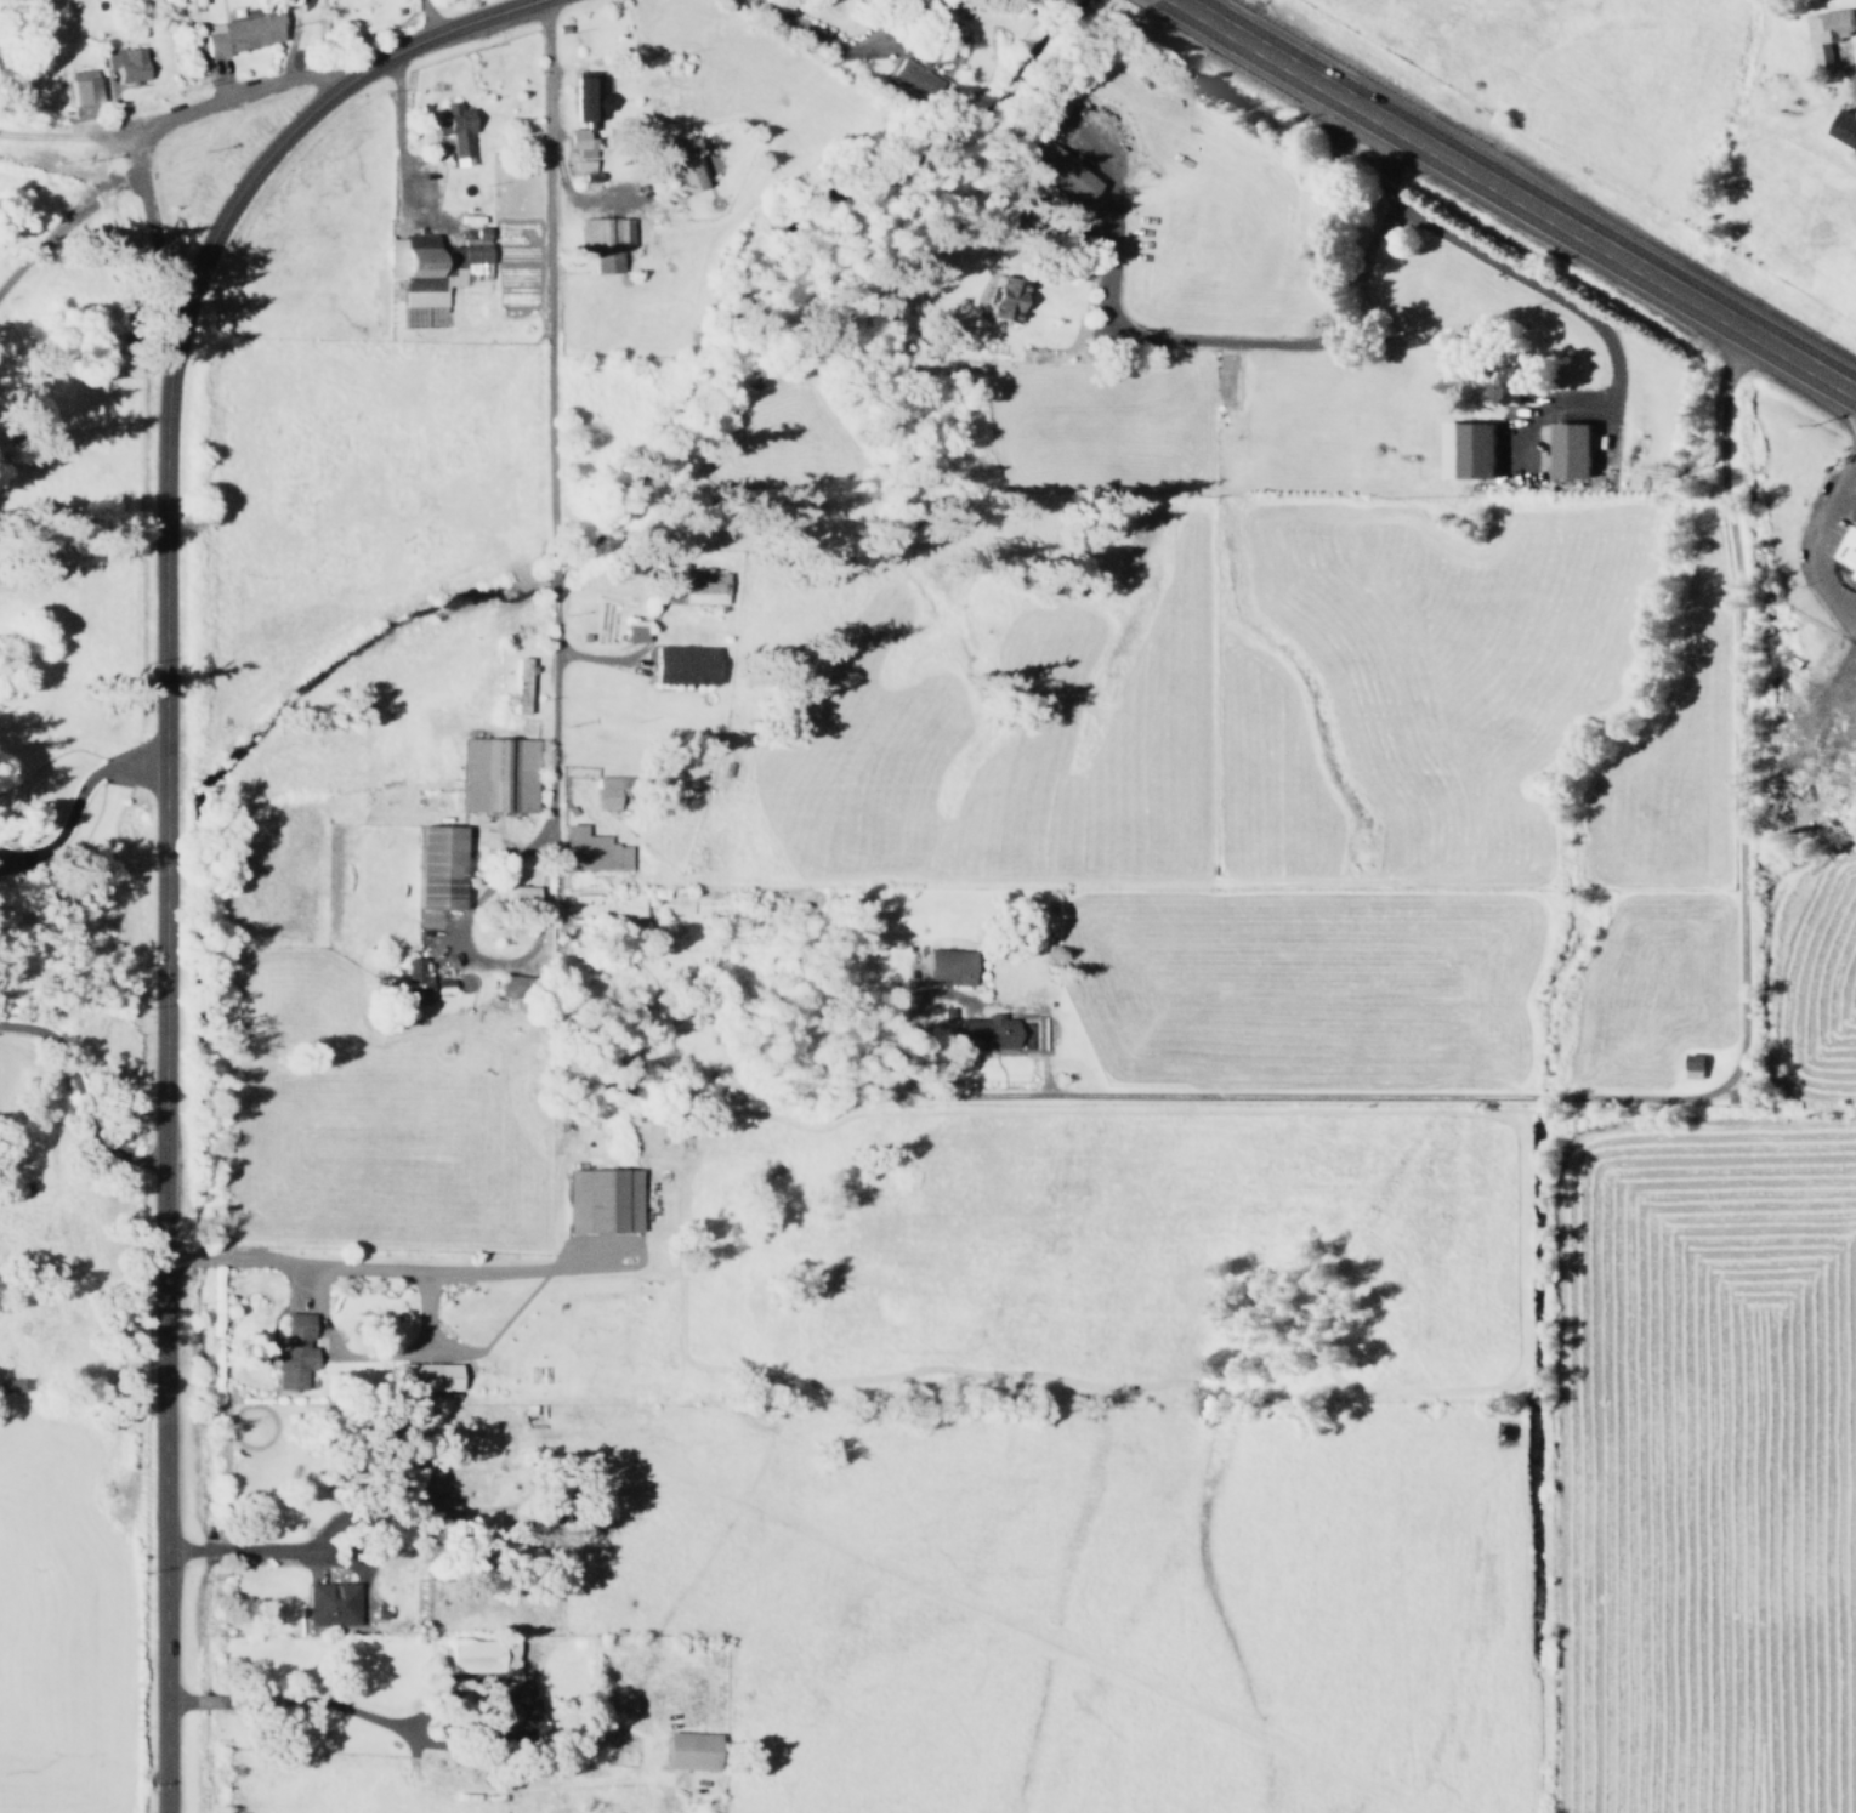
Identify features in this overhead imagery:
road: (430, 16)
road: (794, 27)
building: (238, 33)
building: (1822, 35)
road: (289, 52)
building: (121, 63)
building: (907, 78)
road: (221, 80)
building: (78, 86)
road: (1854, 92)
building: (583, 98)
building: (1843, 129)
building: (450, 130)
road: (148, 135)
road: (81, 136)
road: (396, 140)
building: (575, 141)
building: (677, 164)
building: (1055, 171)
road: (1515, 197)
road: (579, 199)
road: (149, 228)
building: (601, 235)
building: (430, 265)
road: (1525, 283)
building: (999, 299)
road: (1281, 345)
road: (550, 405)
building: (1576, 448)
building: (1464, 449)
building: (1845, 547)
road: (1818, 553)
building: (698, 587)
road: (1846, 609)
building: (630, 630)
road: (598, 663)
building: (679, 664)
building: (494, 774)
building: (602, 791)
road: (73, 801)
road: (163, 814)
building: (588, 849)
building: (432, 868)
building: (515, 896)
building: (605, 903)
road: (481, 966)
building: (944, 966)
building: (403, 982)
building: (437, 985)
building: (982, 1031)
building: (1691, 1065)
road: (1720, 1091)
road: (78, 1098)
building: (605, 1199)
road: (331, 1267)
road: (503, 1271)
road: (296, 1288)
building: (295, 1352)
building: (430, 1375)
crop: (1395, 1478)
road: (245, 1551)
building: (331, 1603)
building: (484, 1656)
road: (289, 1700)
building: (523, 1705)
building: (693, 1750)

